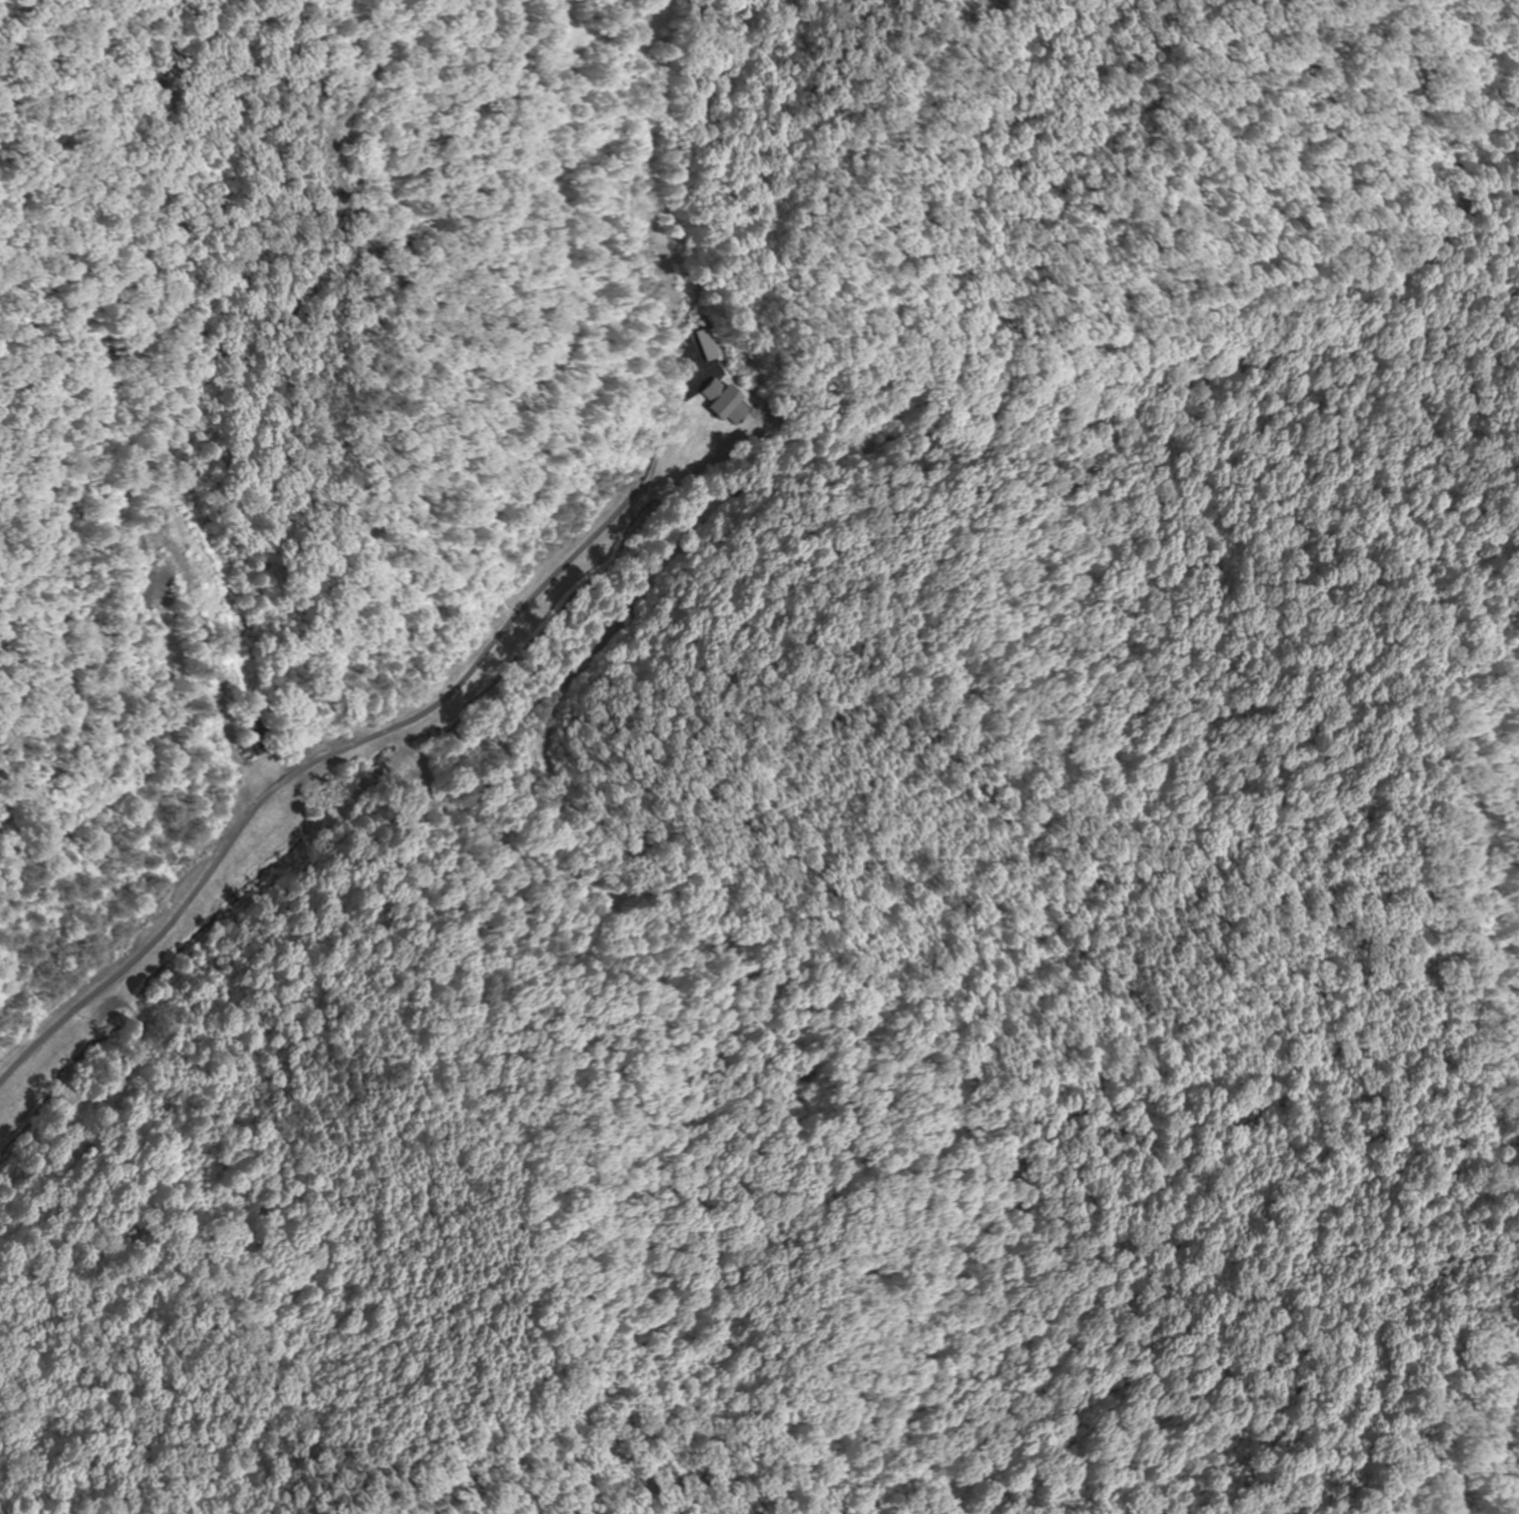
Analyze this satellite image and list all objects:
building: (719, 403)
building: (252, 737)
road: (369, 739)
road: (1386, 1032)

